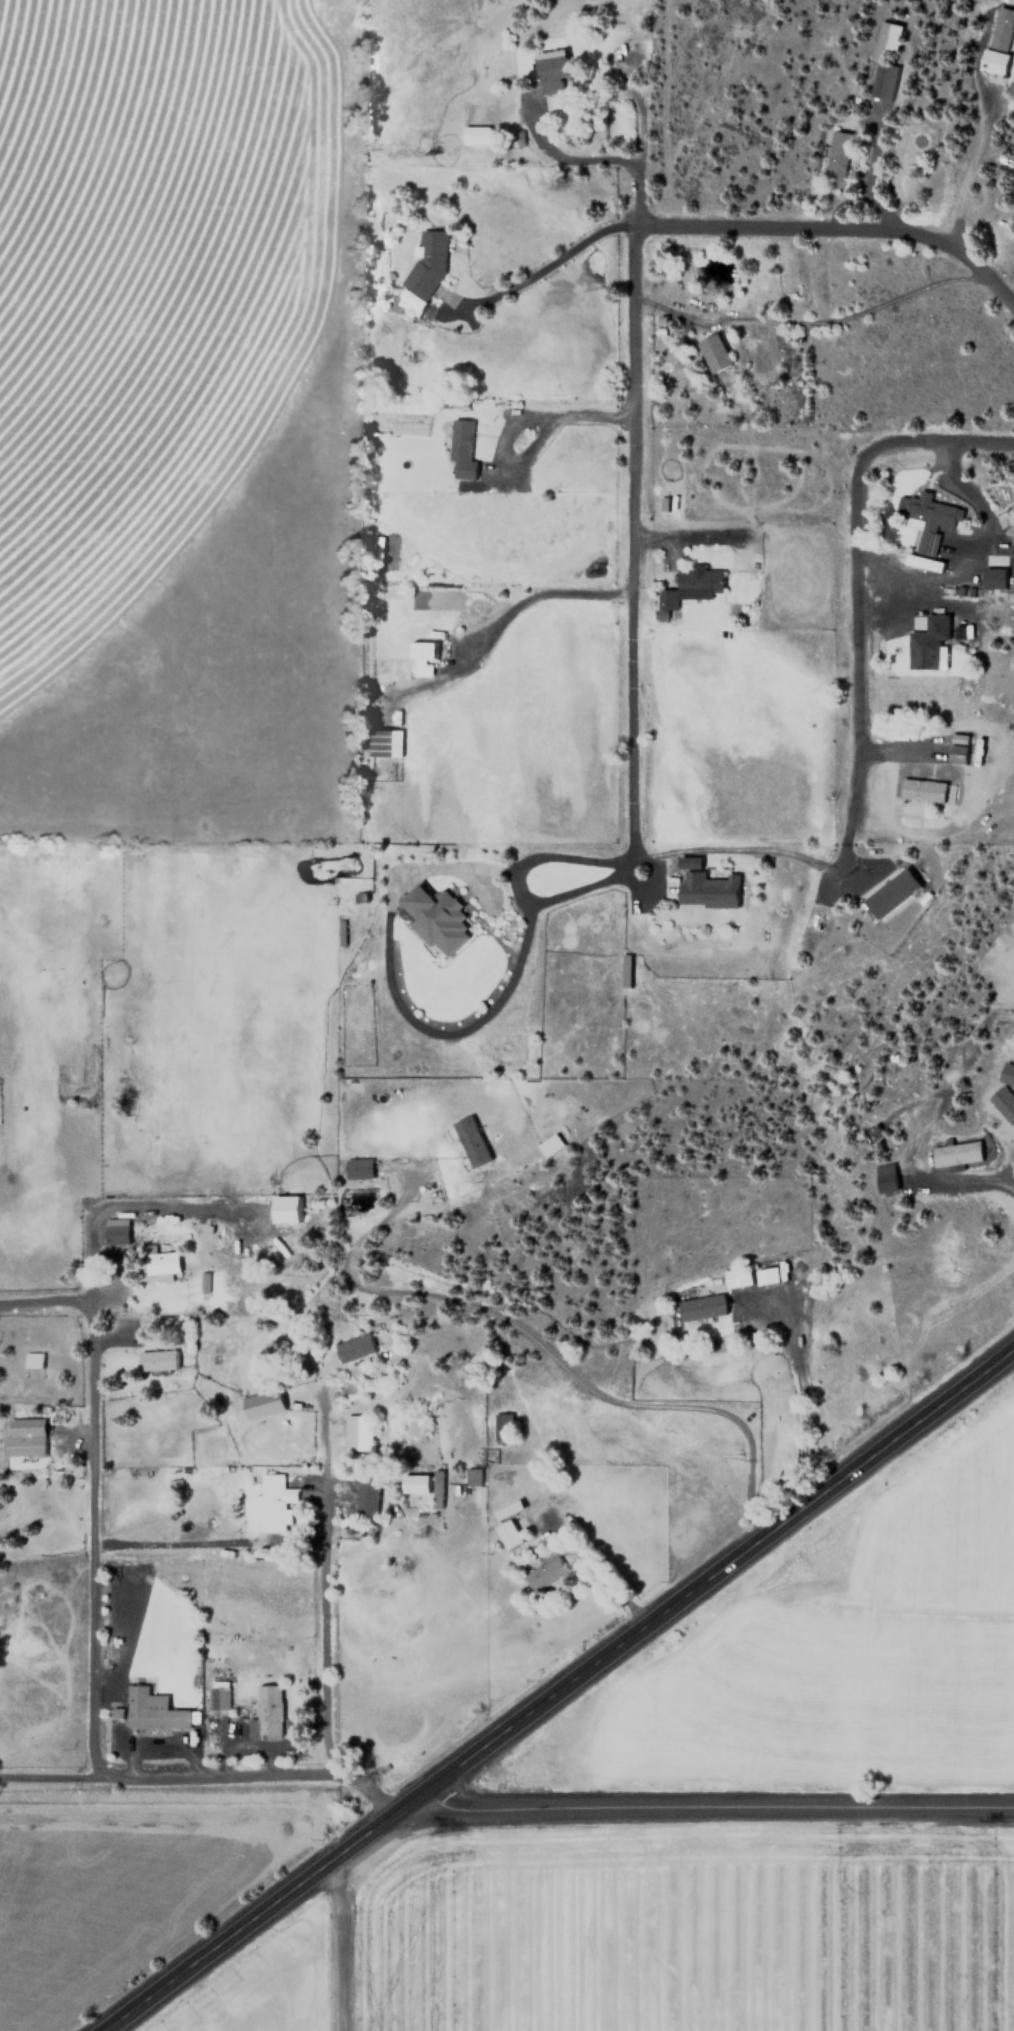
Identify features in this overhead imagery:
building: (996, 42)
building: (883, 61)
building: (549, 70)
building: (837, 155)
road: (592, 161)
road: (971, 164)
road: (871, 168)
crop: (124, 220)
road: (846, 228)
road: (546, 264)
building: (421, 279)
road: (813, 320)
building: (713, 353)
road: (508, 424)
road: (933, 444)
building: (460, 451)
road: (978, 502)
building: (926, 519)
road: (681, 533)
building: (932, 565)
building: (994, 578)
building: (689, 588)
road: (524, 601)
building: (928, 644)
building: (422, 657)
road: (860, 668)
road: (629, 673)
building: (383, 741)
building: (957, 748)
road: (894, 752)
building: (922, 790)
road: (736, 850)
building: (705, 889)
building: (891, 893)
building: (437, 919)
road: (392, 994)
building: (1005, 1073)
building: (1002, 1104)
building: (472, 1141)
building: (550, 1145)
building: (359, 1168)
building: (882, 1178)
road: (962, 1181)
building: (285, 1208)
building: (116, 1234)
building: (162, 1262)
building: (767, 1275)
building: (738, 1277)
building: (203, 1282)
building: (704, 1305)
road: (77, 1312)
road: (547, 1346)
building: (355, 1348)
building: (33, 1360)
building: (158, 1360)
road: (801, 1393)
building: (263, 1404)
building: (503, 1428)
building: (358, 1433)
building: (24, 1437)
building: (472, 1476)
building: (437, 1489)
building: (370, 1498)
building: (274, 1501)
building: (507, 1524)
road: (92, 1547)
building: (544, 1573)
road: (327, 1615)
road: (559, 1692)
building: (220, 1695)
building: (154, 1711)
building: (270, 1711)
road: (259, 1776)
road: (708, 1809)
road: (337, 1943)
crop: (259, 1993)

